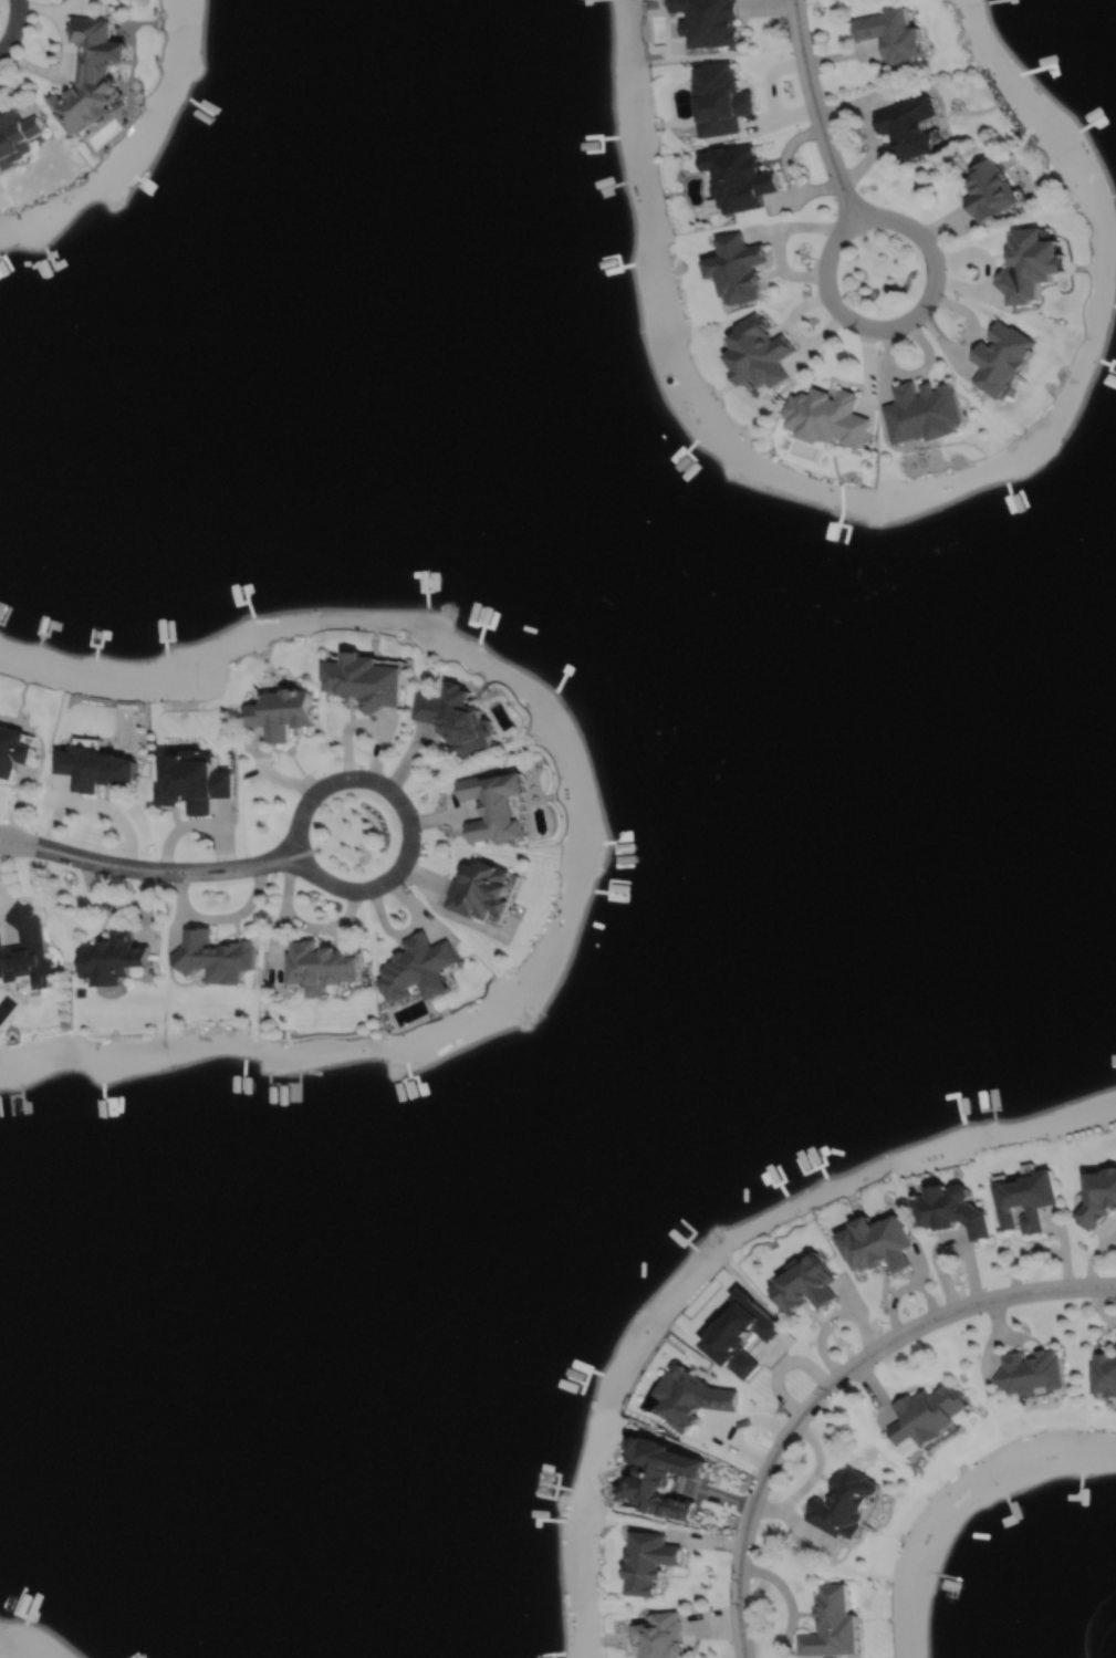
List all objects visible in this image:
building: (708, 21)
road: (13, 25)
building: (891, 37)
road: (66, 54)
building: (91, 75)
building: (720, 101)
road: (816, 113)
building: (908, 127)
building: (17, 137)
building: (739, 179)
building: (990, 191)
building: (1029, 267)
building: (736, 270)
road: (904, 322)
building: (758, 352)
building: (1002, 356)
building: (925, 411)
building: (827, 416)
building: (920, 449)
building: (365, 680)
building: (282, 712)
building: (458, 718)
building: (12, 750)
building: (94, 769)
building: (192, 782)
building: (494, 806)
road: (406, 812)
road: (20, 840)
road: (20, 846)
road: (169, 870)
building: (481, 893)
building: (27, 950)
building: (215, 957)
building: (114, 959)
building: (323, 967)
building: (420, 970)
building: (1097, 1195)
building: (1025, 1196)
building: (951, 1208)
building: (876, 1241)
road: (948, 1245)
building: (806, 1282)
building: (1032, 1370)
building: (1104, 1372)
road: (833, 1379)
building: (693, 1396)
building: (927, 1414)
building: (663, 1479)
building: (845, 1504)
building: (650, 1561)
building: (832, 1625)
building: (664, 1635)

